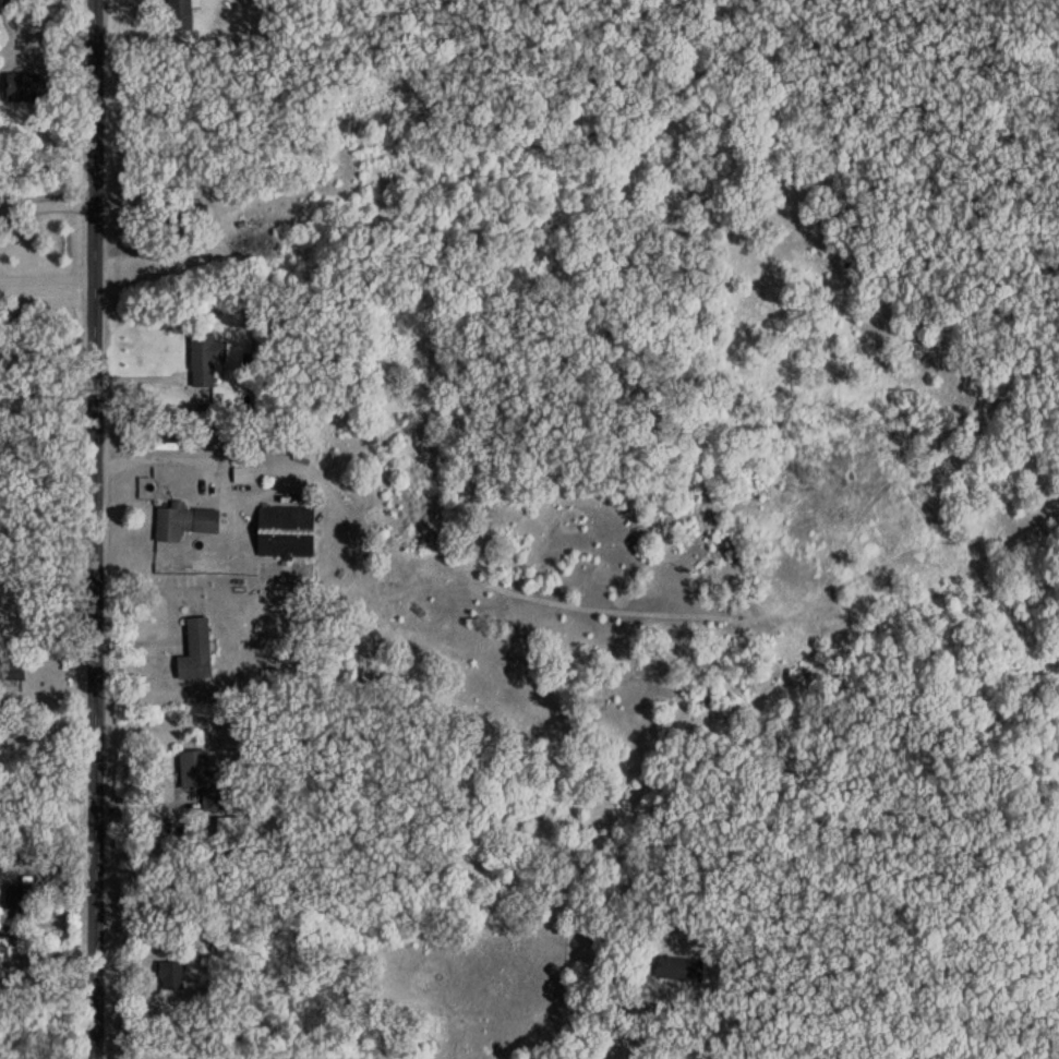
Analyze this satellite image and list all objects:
building: (181, 13)
road: (34, 43)
building: (24, 86)
road: (45, 203)
road: (45, 278)
road: (45, 353)
building: (206, 359)
road: (166, 457)
building: (190, 521)
road: (92, 529)
building: (287, 530)
building: (299, 571)
road: (44, 589)
building: (198, 649)
building: (13, 673)
building: (205, 779)
building: (239, 831)
building: (2, 867)
building: (19, 901)
building: (681, 968)
building: (173, 975)
road: (641, 1036)
road: (210, 1058)

